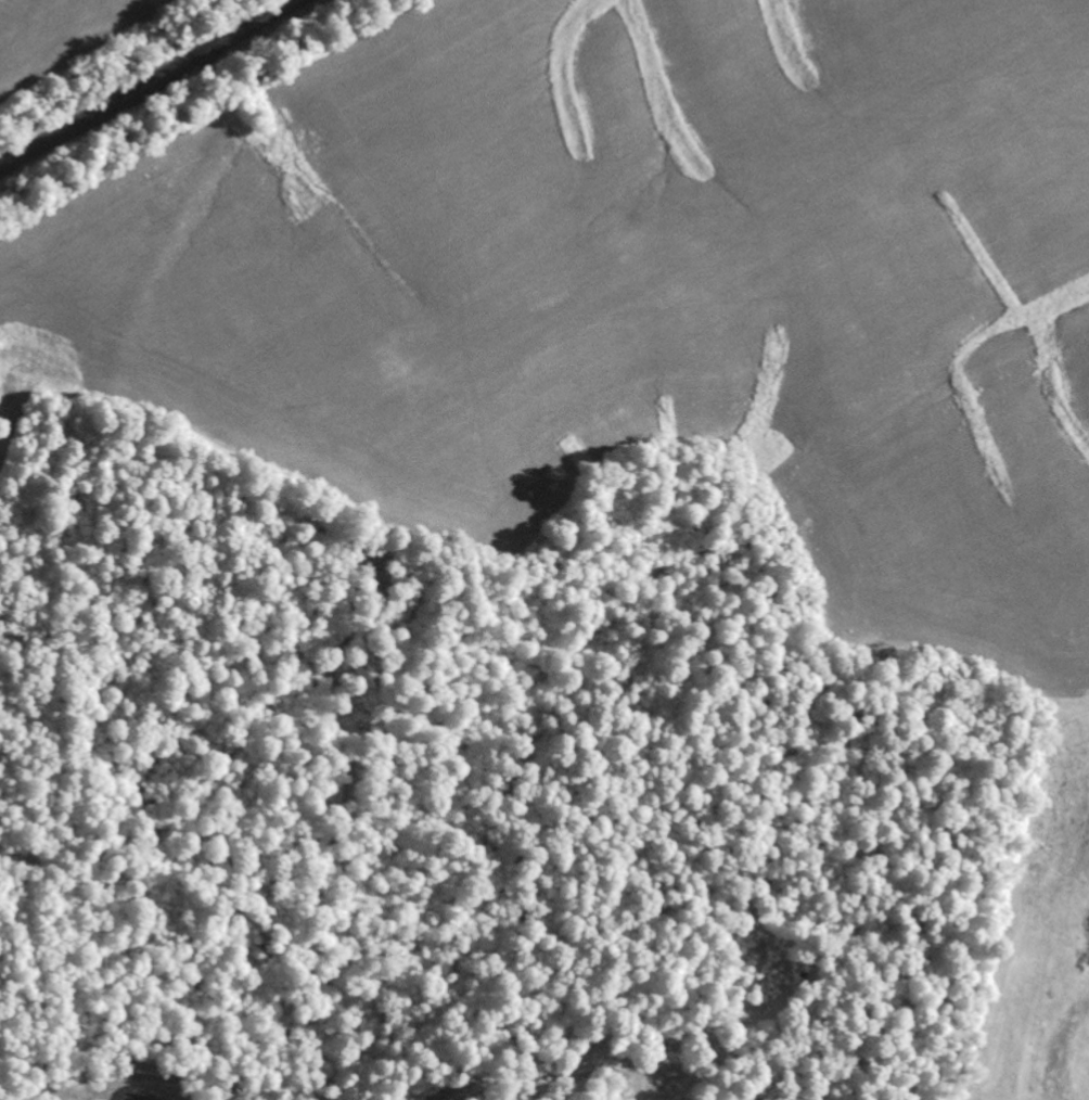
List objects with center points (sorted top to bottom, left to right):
railway: (151, 84)

